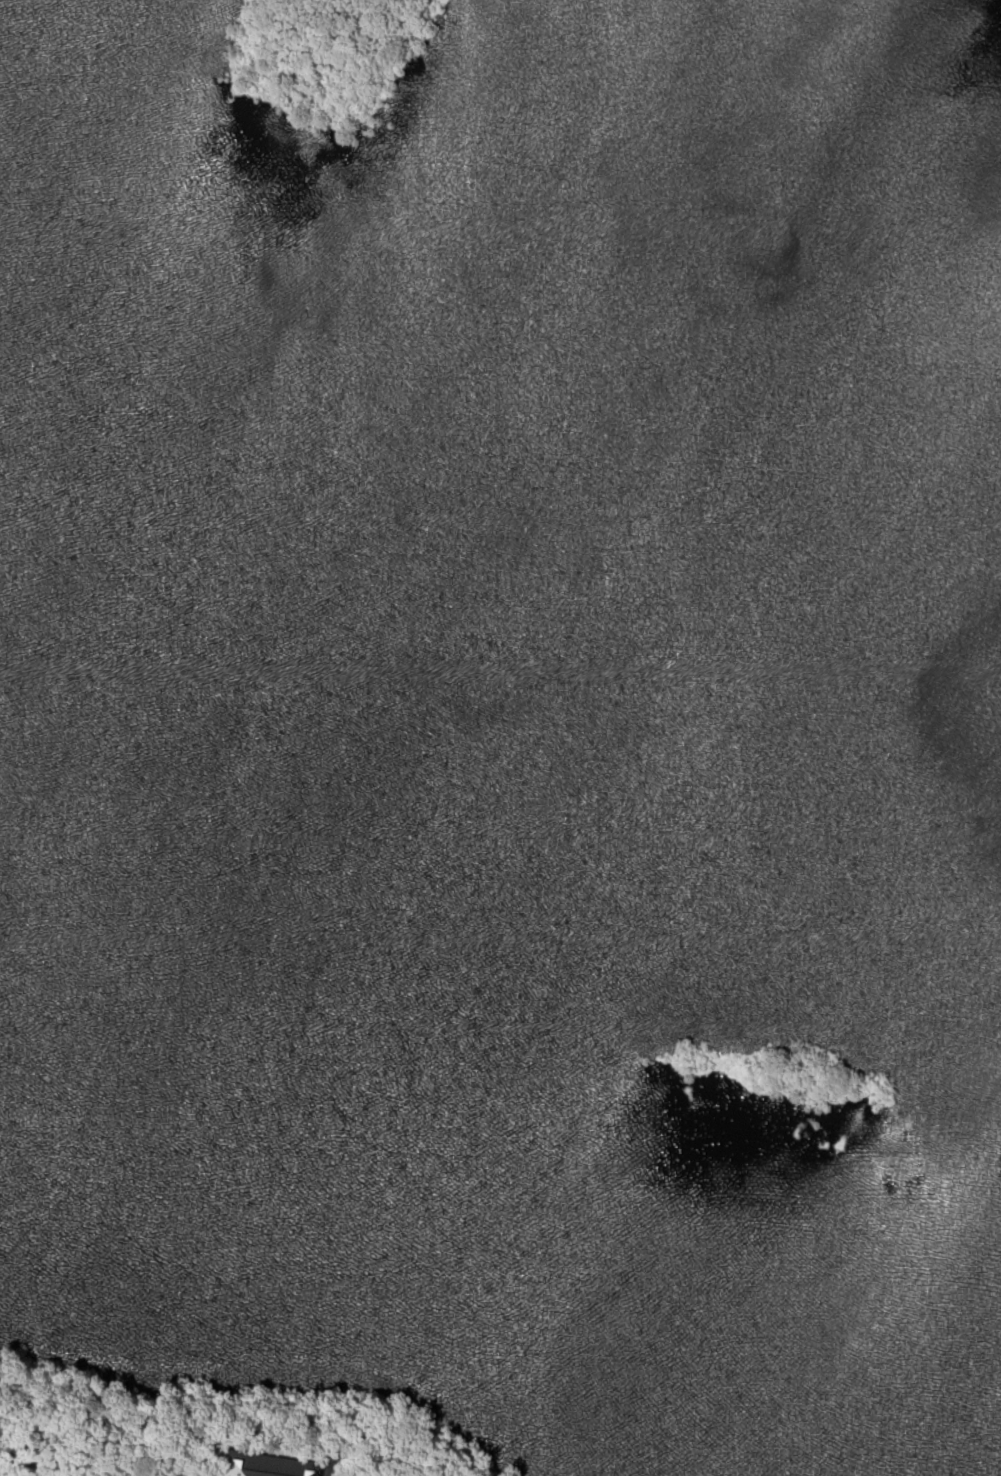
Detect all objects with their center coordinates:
river: (516, 1253)
building: (284, 1467)

